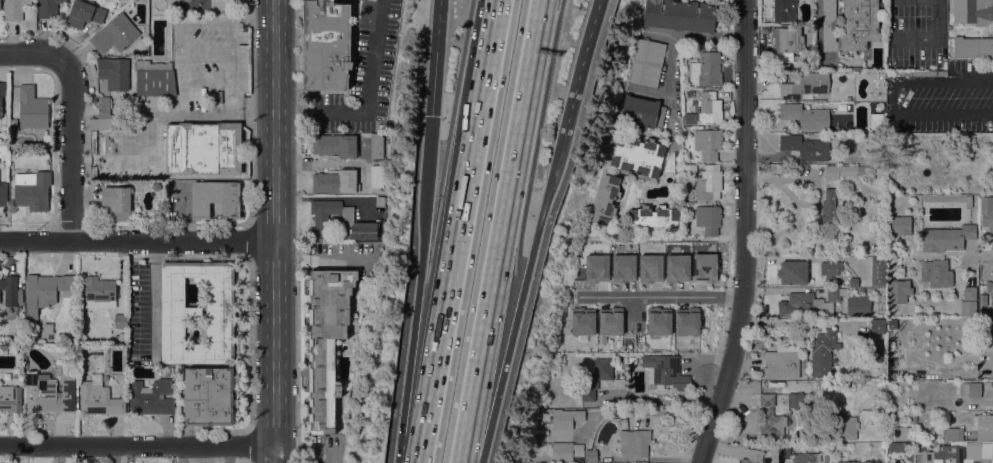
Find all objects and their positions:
building: (0, 5)
building: (49, 8)
building: (15, 9)
building: (784, 10)
building: (973, 12)
building: (84, 14)
building: (680, 15)
building: (851, 25)
building: (765, 30)
building: (115, 34)
building: (787, 40)
road: (915, 41)
building: (326, 45)
road: (673, 46)
building: (973, 47)
road: (492, 48)
road: (32, 53)
building: (686, 55)
road: (438, 57)
building: (797, 60)
building: (647, 62)
road: (579, 67)
building: (705, 70)
building: (115, 73)
building: (879, 78)
building: (155, 79)
building: (805, 86)
building: (723, 93)
building: (1, 96)
road: (366, 99)
road: (943, 104)
building: (104, 107)
building: (842, 107)
building: (707, 108)
building: (30, 110)
building: (642, 113)
traffic signals: (436, 115)
building: (806, 115)
building: (691, 118)
building: (877, 121)
building: (100, 124)
building: (708, 143)
building: (100, 144)
building: (335, 145)
building: (377, 146)
building: (806, 147)
building: (204, 148)
road: (70, 151)
building: (637, 155)
road: (432, 156)
road: (331, 163)
building: (689, 170)
building: (845, 171)
building: (377, 176)
building: (336, 182)
building: (708, 184)
building: (156, 186)
building: (32, 190)
building: (3, 194)
building: (688, 196)
road: (329, 197)
building: (951, 198)
building: (216, 199)
building: (606, 199)
building: (380, 201)
building: (116, 203)
road: (543, 206)
building: (830, 207)
building: (987, 212)
building: (654, 216)
building: (322, 218)
building: (708, 219)
building: (901, 225)
road: (274, 231)
road: (501, 231)
road: (746, 234)
road: (425, 238)
building: (946, 238)
road: (137, 241)
road: (975, 251)
building: (590, 254)
road: (322, 258)
building: (626, 263)
building: (704, 267)
building: (596, 268)
building: (649, 268)
building: (676, 268)
building: (830, 269)
building: (879, 271)
building: (793, 272)
building: (937, 273)
road: (451, 280)
building: (854, 282)
building: (696, 288)
building: (12, 290)
building: (844, 290)
building: (990, 290)
building: (45, 291)
building: (898, 291)
building: (99, 292)
building: (970, 293)
building: (833, 294)
road: (663, 296)
building: (983, 300)
building: (808, 305)
building: (857, 306)
building: (968, 308)
building: (198, 312)
building: (121, 321)
building: (582, 321)
building: (609, 321)
building: (658, 321)
building: (686, 321)
building: (878, 326)
building: (48, 329)
building: (327, 340)
building: (823, 353)
building: (782, 362)
road: (408, 370)
building: (165, 371)
building: (665, 371)
road: (501, 372)
building: (935, 373)
building: (595, 377)
building: (987, 384)
building: (971, 389)
building: (989, 392)
building: (49, 393)
building: (208, 396)
building: (151, 397)
building: (10, 398)
building: (98, 398)
road: (662, 400)
building: (795, 400)
building: (770, 417)
building: (566, 418)
building: (983, 426)
building: (850, 428)
building: (905, 433)
building: (952, 434)
building: (634, 443)
road: (137, 445)
building: (896, 446)
building: (565, 451)
road: (302, 452)
building: (786, 453)
building: (952, 453)
building: (975, 453)
building: (590, 456)
building: (753, 456)
building: (922, 457)
building: (804, 458)
building: (847, 462)

